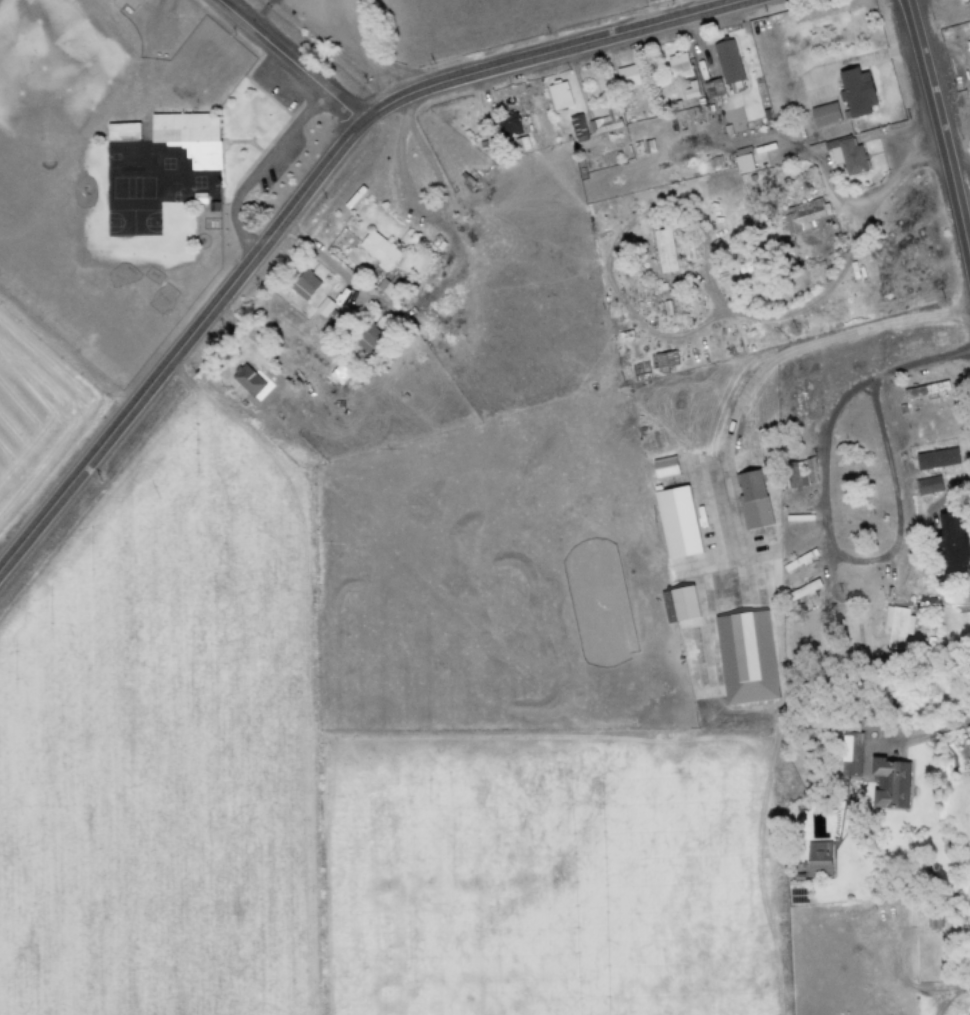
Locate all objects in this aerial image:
building: (648, 0)
road: (744, 0)
building: (127, 4)
road: (629, 15)
building: (968, 49)
road: (288, 60)
building: (727, 61)
building: (677, 65)
building: (625, 76)
building: (713, 88)
building: (690, 90)
building: (854, 91)
building: (559, 95)
building: (823, 114)
building: (605, 120)
building: (507, 124)
building: (577, 127)
building: (121, 131)
building: (188, 136)
road: (940, 137)
building: (521, 144)
building: (743, 163)
road: (846, 173)
road: (309, 186)
building: (795, 217)
road: (692, 220)
building: (377, 249)
building: (662, 251)
road: (839, 267)
road: (330, 271)
building: (304, 285)
building: (323, 309)
building: (365, 336)
building: (664, 360)
road: (765, 367)
road: (917, 367)
building: (337, 375)
building: (246, 380)
building: (926, 390)
building: (936, 459)
building: (663, 467)
building: (801, 472)
building: (927, 486)
building: (751, 500)
building: (675, 522)
building: (948, 540)
road: (823, 543)
building: (803, 590)
building: (963, 601)
building: (677, 604)
building: (896, 626)
building: (745, 657)
building: (848, 755)
building: (888, 784)
building: (817, 859)

